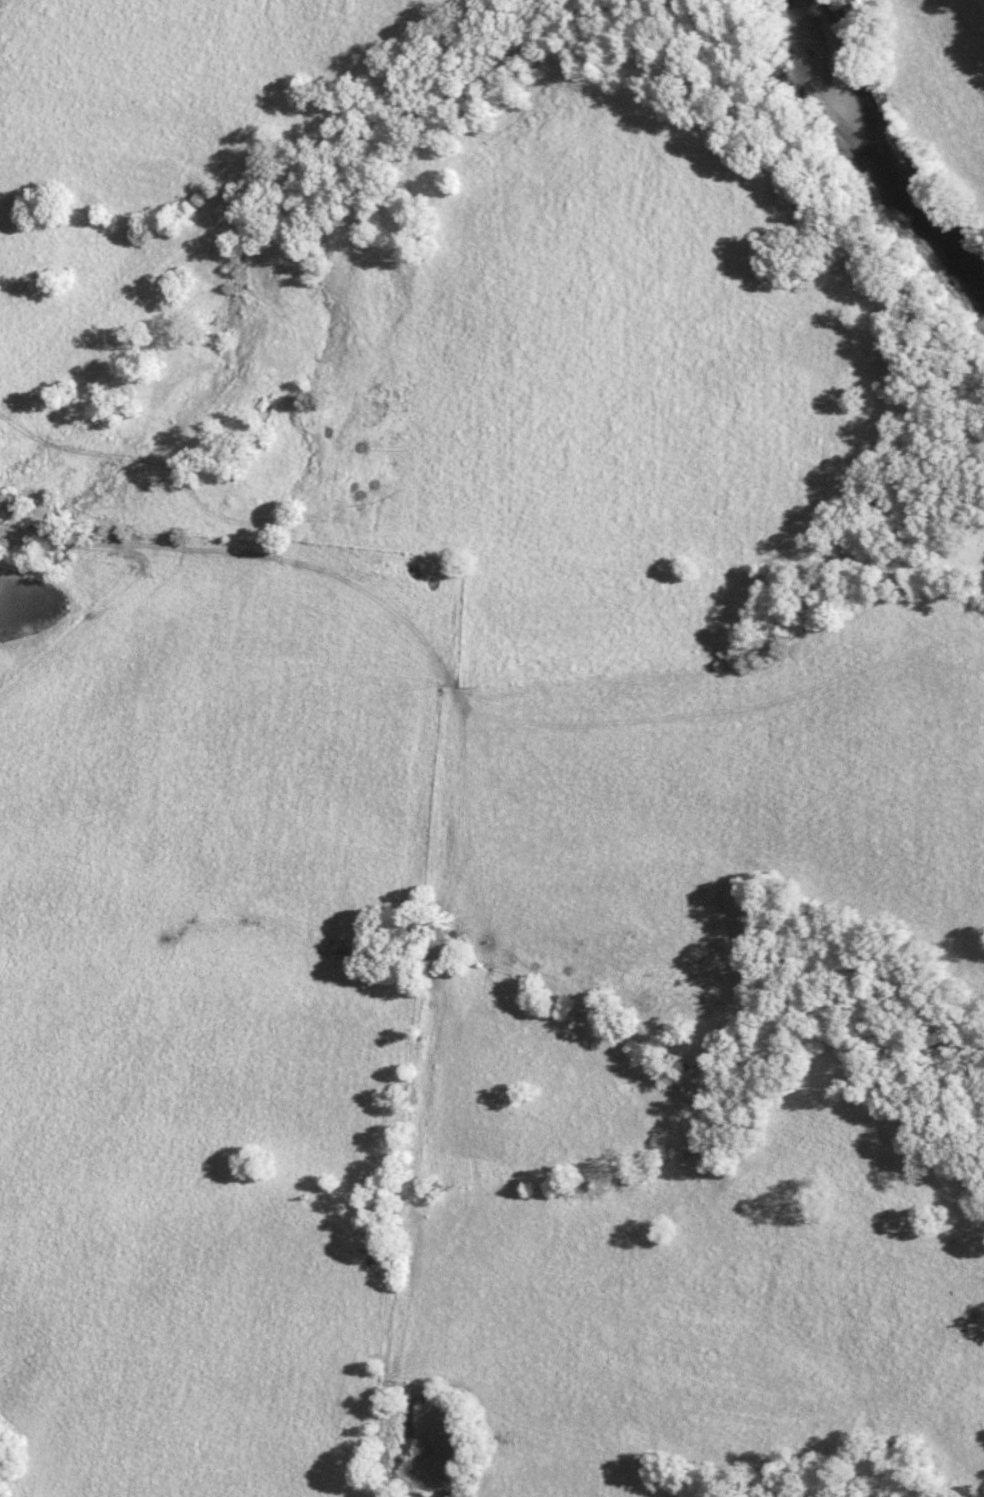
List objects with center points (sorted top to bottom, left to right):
river: (890, 143)
road: (74, 538)

